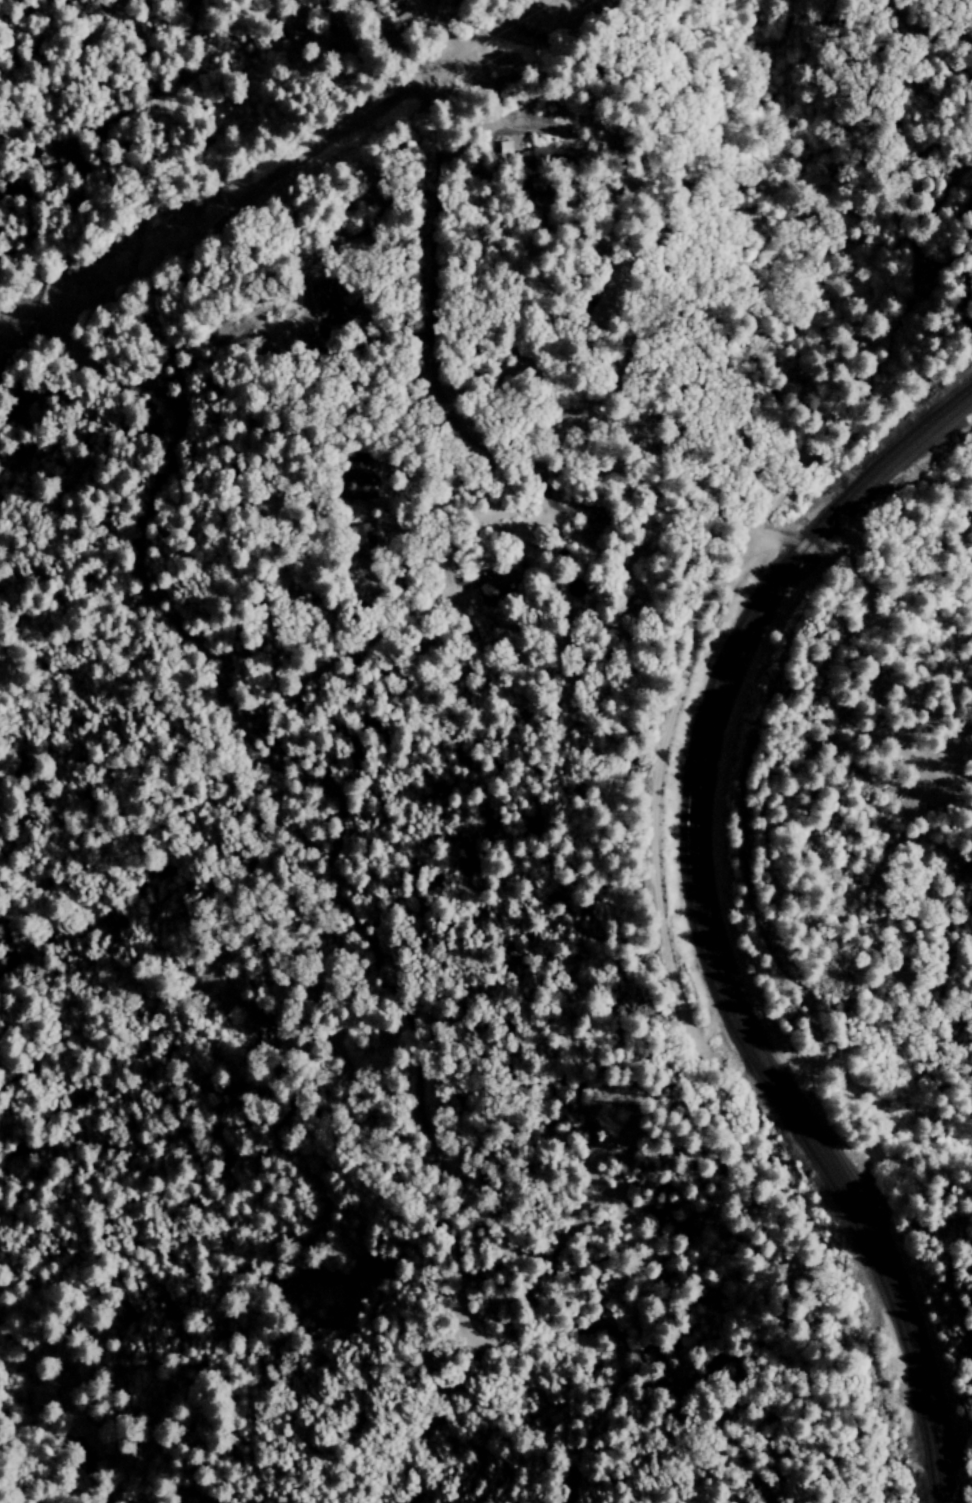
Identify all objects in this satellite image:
road: (334, 19)
road: (401, 40)
power tower: (464, 63)
road: (470, 130)
building: (504, 150)
power tower: (231, 204)
road: (392, 259)
building: (325, 302)
road: (496, 319)
power tower: (24, 322)
road: (64, 322)
road: (389, 432)
building: (358, 475)
road: (545, 487)
road: (148, 502)
road: (533, 521)
building: (597, 530)
building: (363, 538)
building: (492, 589)
road: (827, 693)
railway: (707, 926)
railway: (721, 935)

